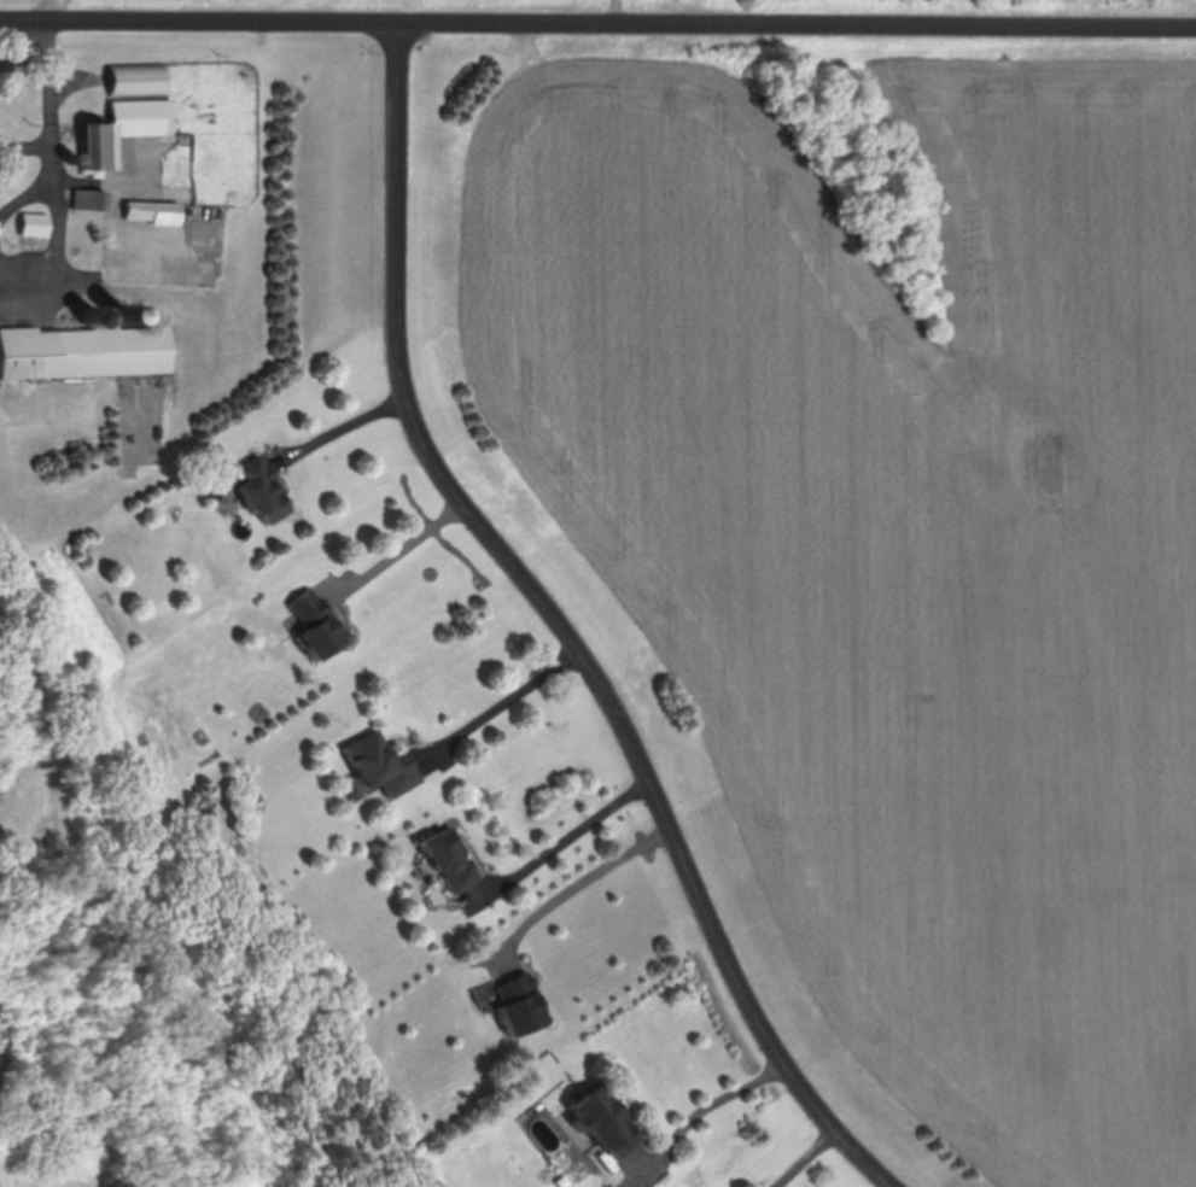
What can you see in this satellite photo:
road: (597, 22)
building: (134, 80)
road: (53, 101)
building: (122, 128)
building: (87, 199)
building: (151, 211)
road: (51, 250)
building: (83, 351)
road: (342, 428)
building: (262, 492)
road: (401, 549)
building: (315, 624)
road: (568, 626)
road: (514, 698)
building: (381, 765)
road: (567, 844)
building: (450, 860)
road: (582, 888)
building: (521, 1005)
road: (718, 1101)
building: (605, 1123)
road: (811, 1158)

